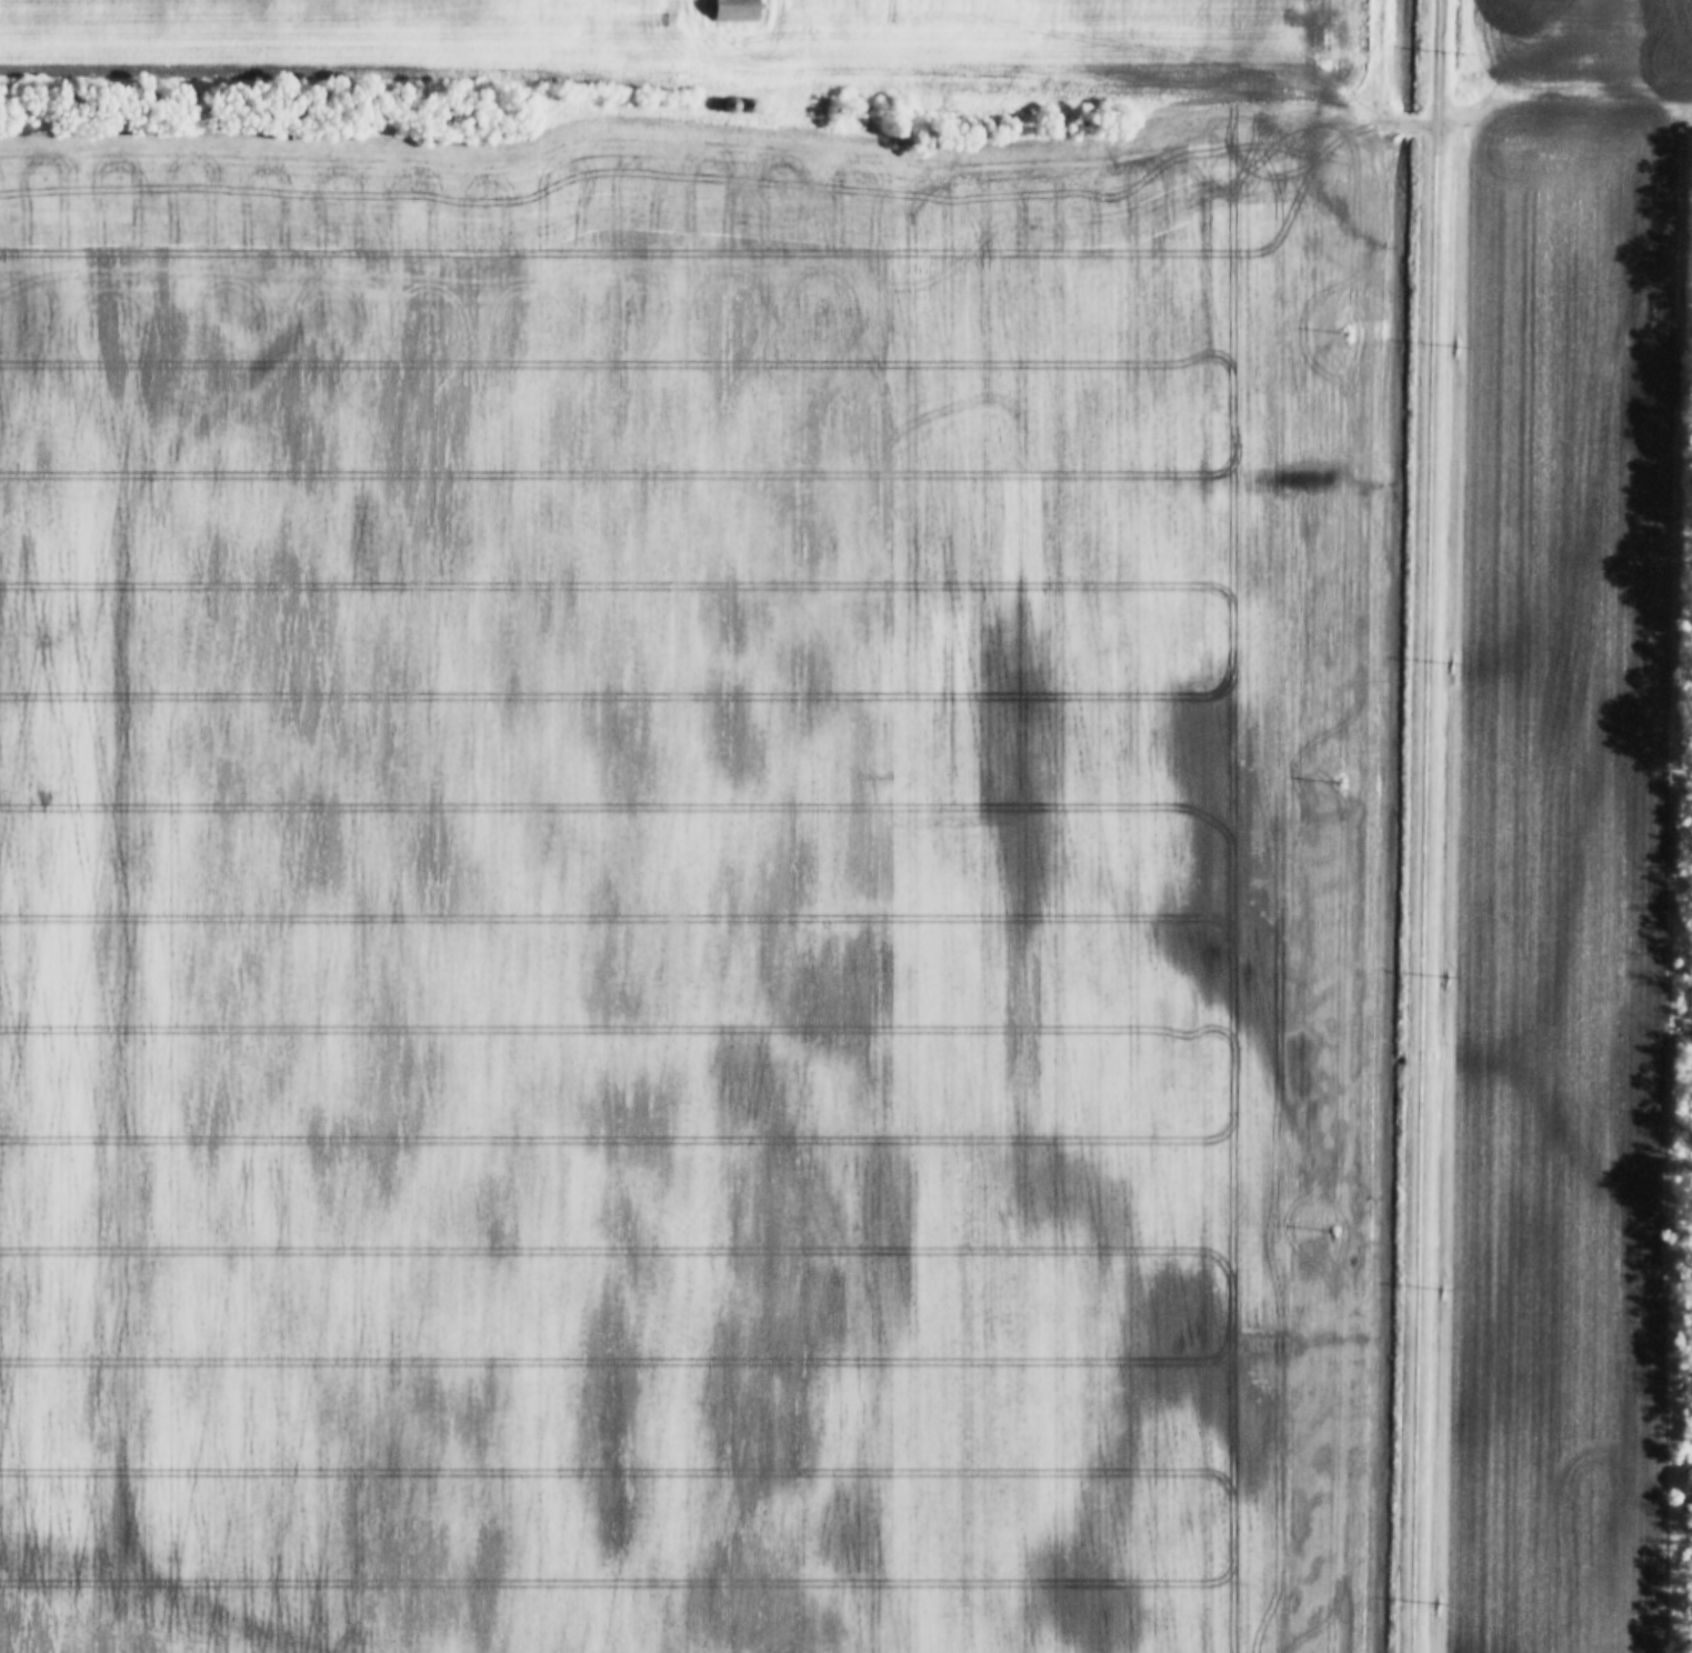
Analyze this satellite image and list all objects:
road: (1423, 826)

